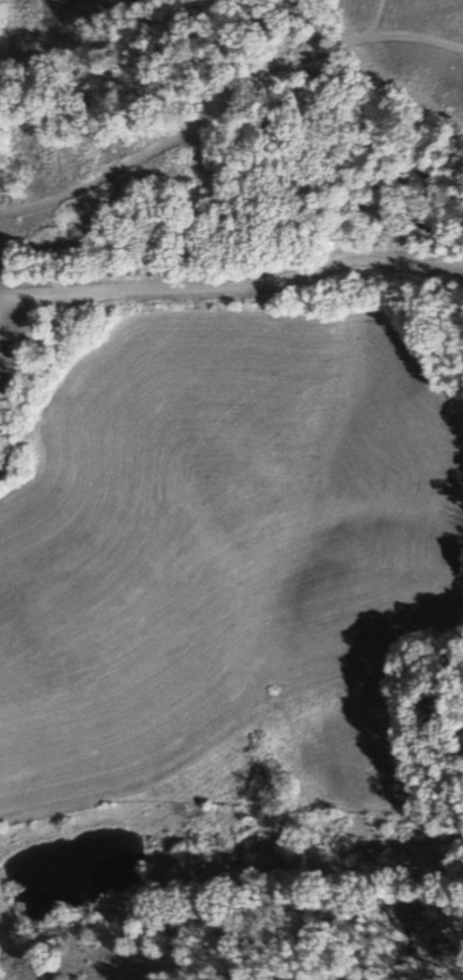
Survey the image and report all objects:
road: (235, 325)

